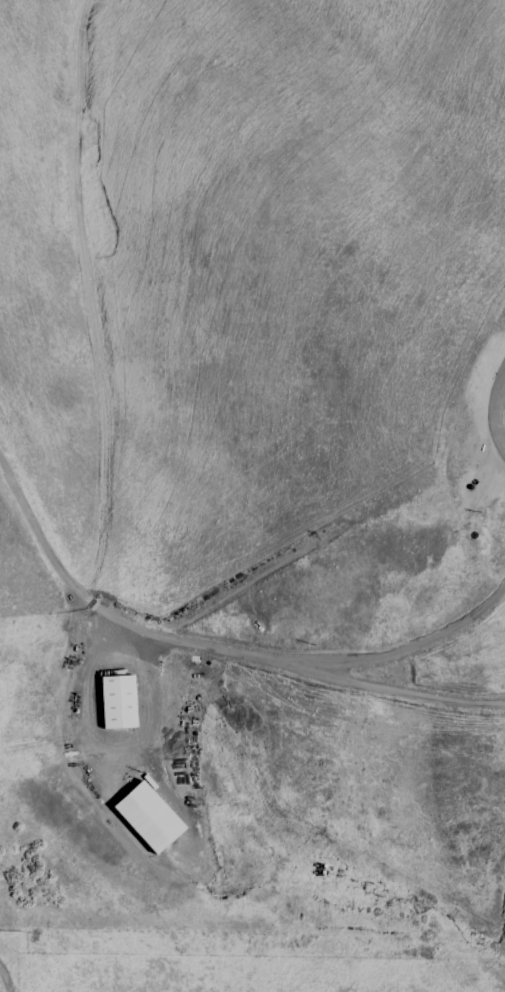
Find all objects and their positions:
building: (504, 414)
road: (208, 651)
road: (395, 655)
building: (118, 705)
building: (148, 818)

